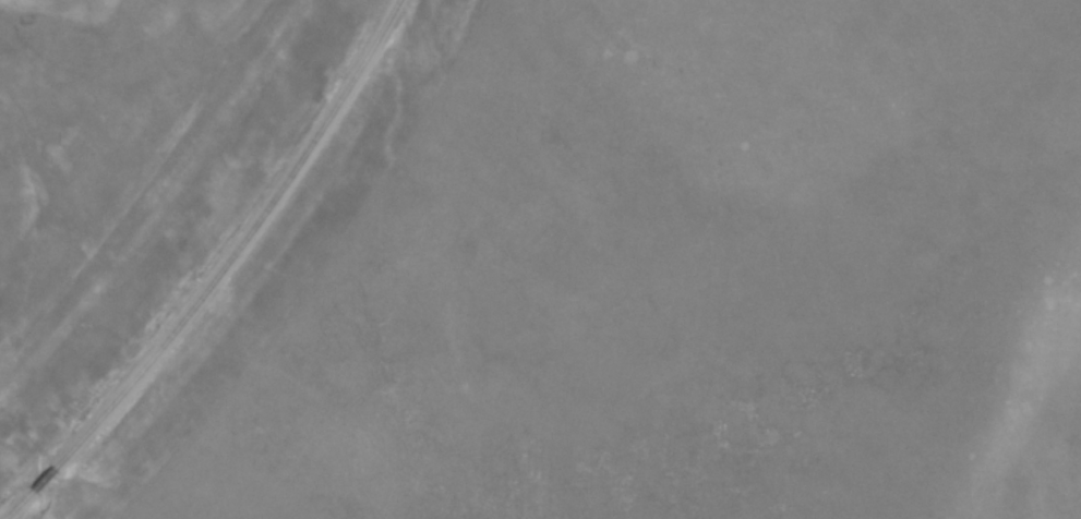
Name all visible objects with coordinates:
railway: (236, 244)
railway: (37, 479)
railway: (13, 504)

